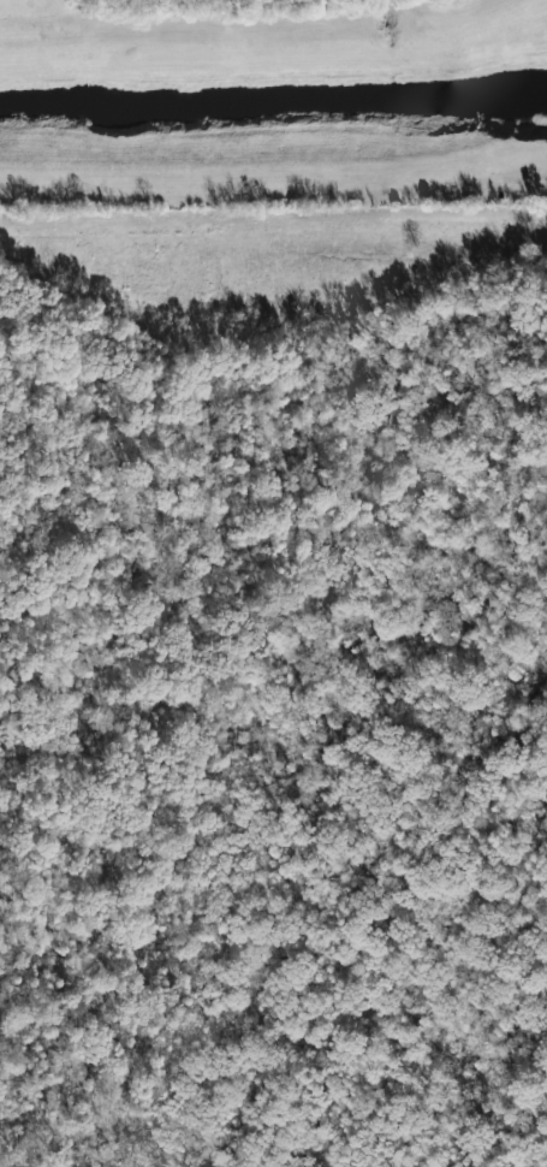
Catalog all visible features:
river: (274, 96)

